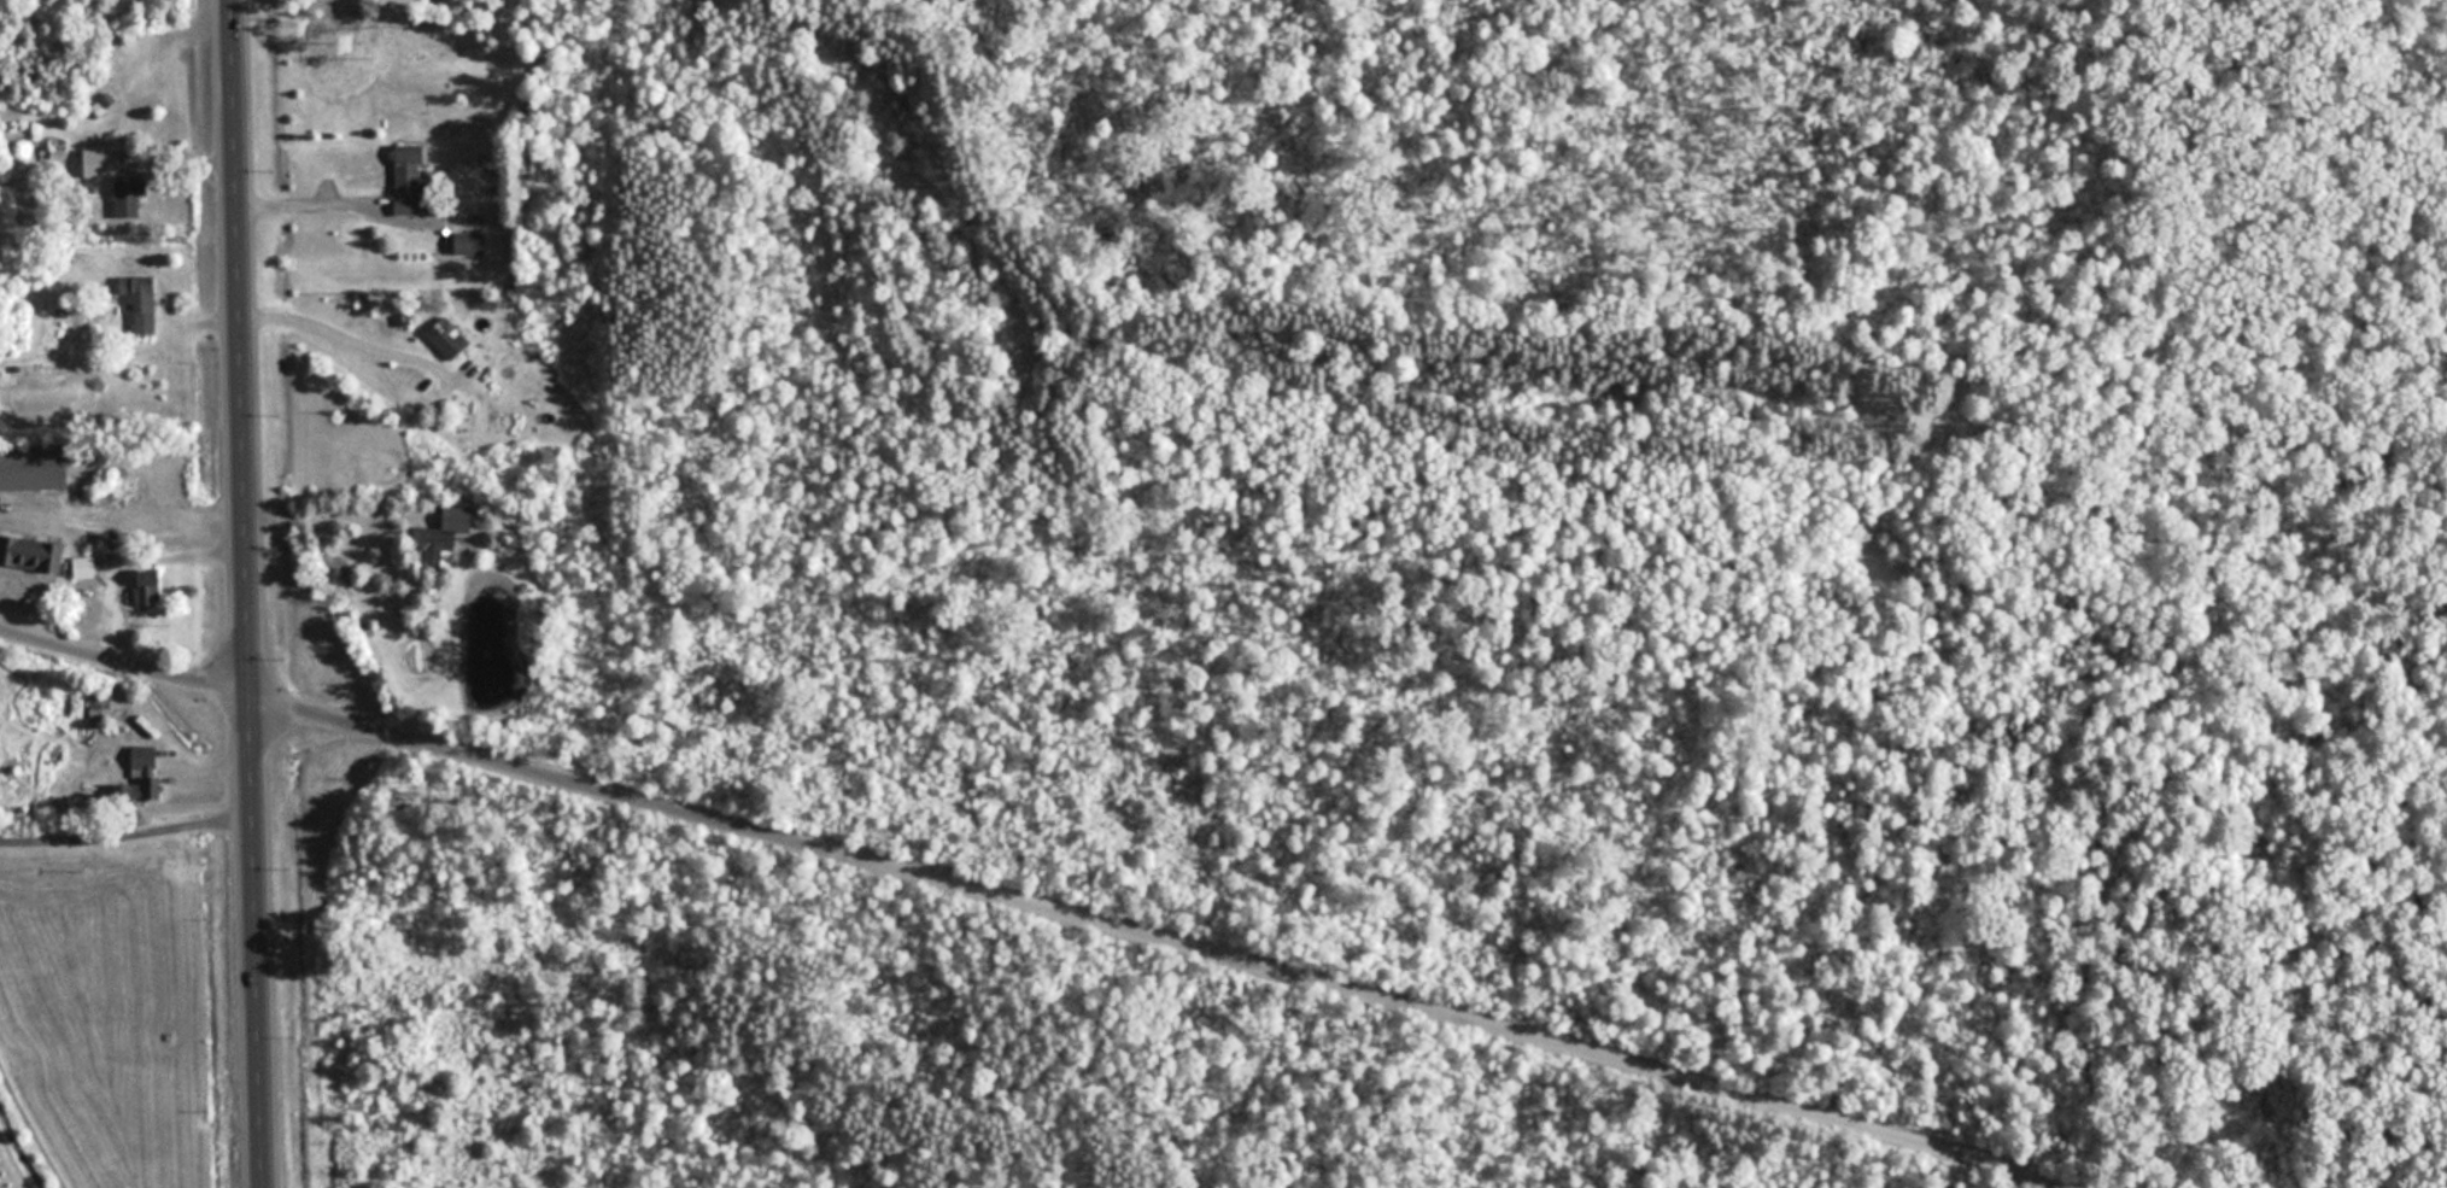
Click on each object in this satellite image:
building: (101, 163)
building: (411, 181)
building: (128, 199)
road: (317, 203)
building: (469, 242)
building: (141, 302)
road: (349, 338)
building: (449, 338)
building: (35, 468)
road: (339, 517)
building: (440, 542)
building: (29, 552)
building: (84, 568)
building: (150, 589)
road: (248, 593)
park: (1448, 618)
road: (125, 667)
building: (146, 756)
building: (154, 788)
road: (1184, 944)

